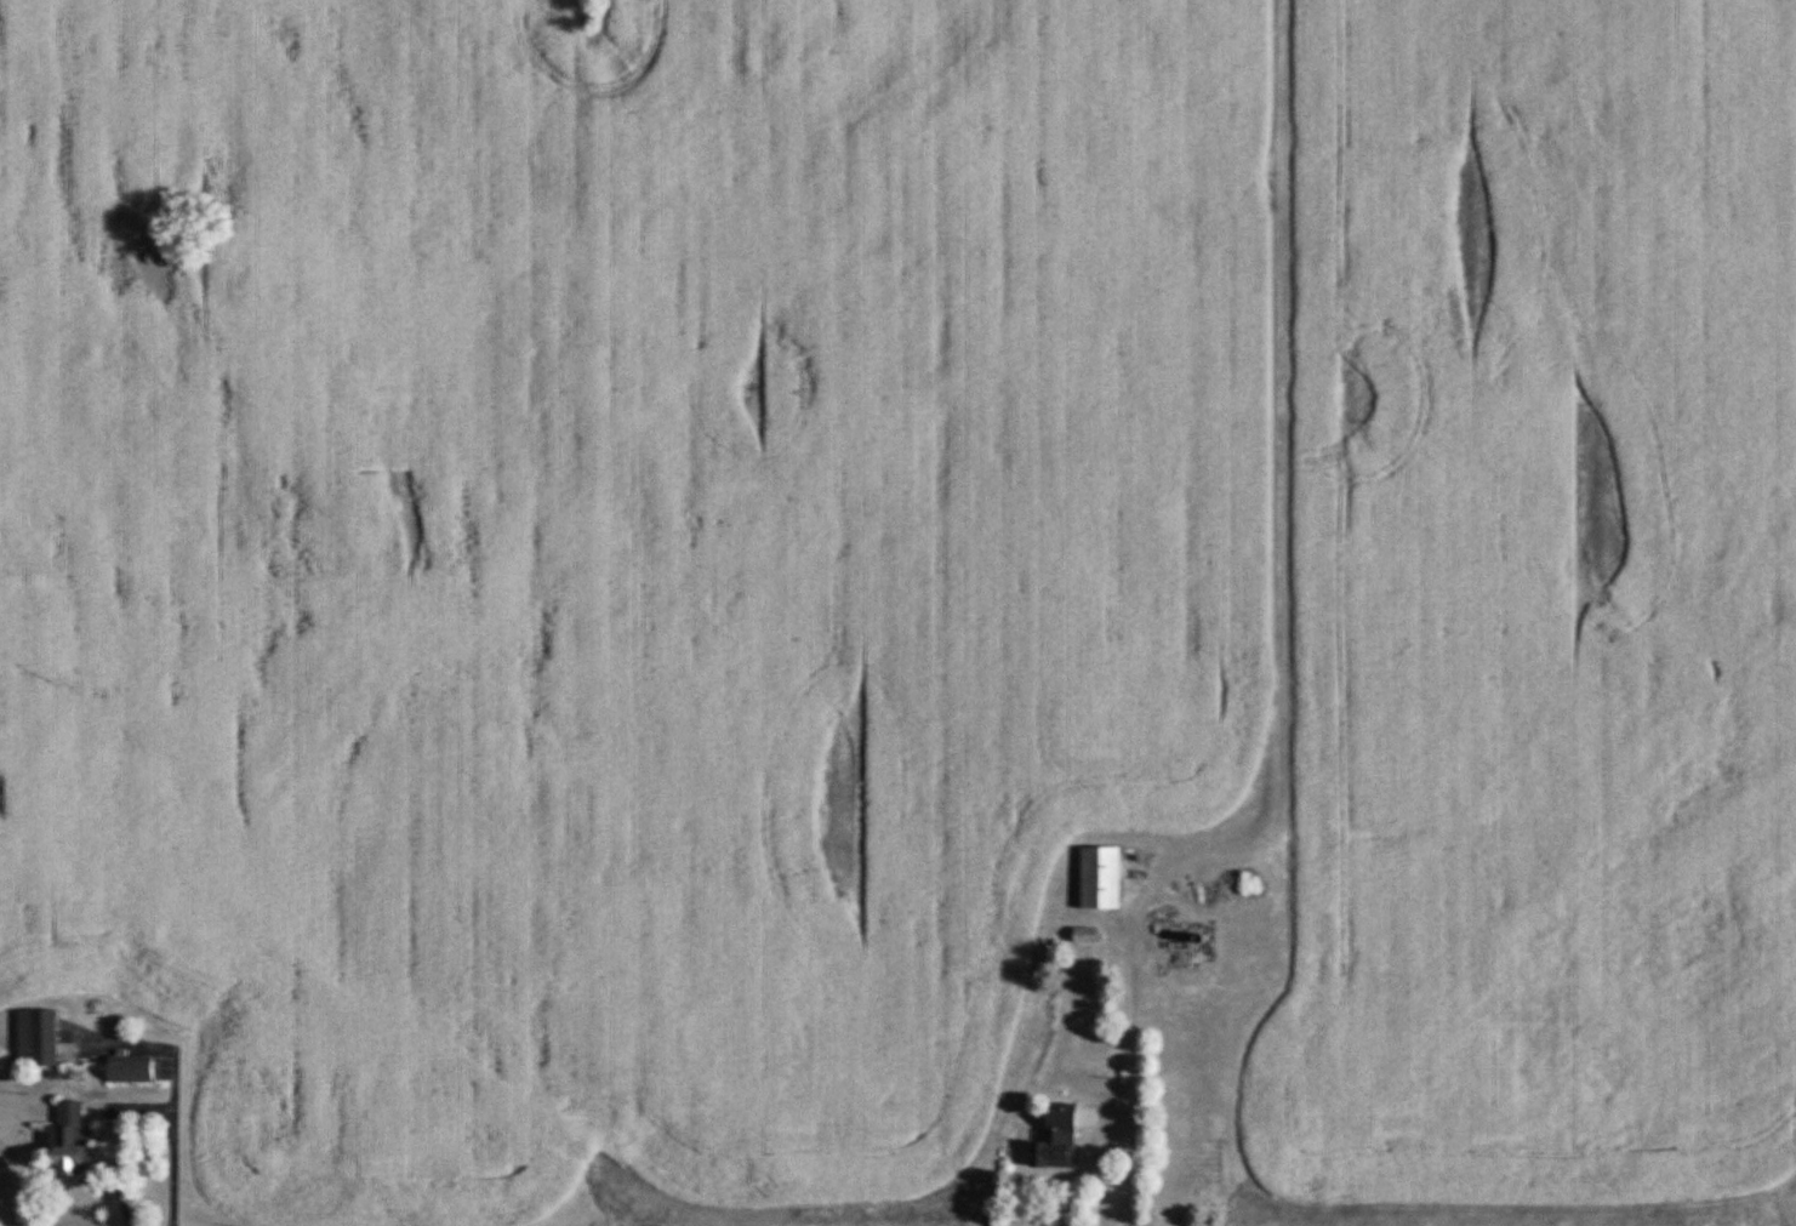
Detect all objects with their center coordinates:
building: (1099, 879)
building: (35, 1038)
building: (129, 1070)
road: (1133, 1078)
road: (146, 1110)
building: (1056, 1139)
building: (67, 1140)
road: (1102, 1169)

